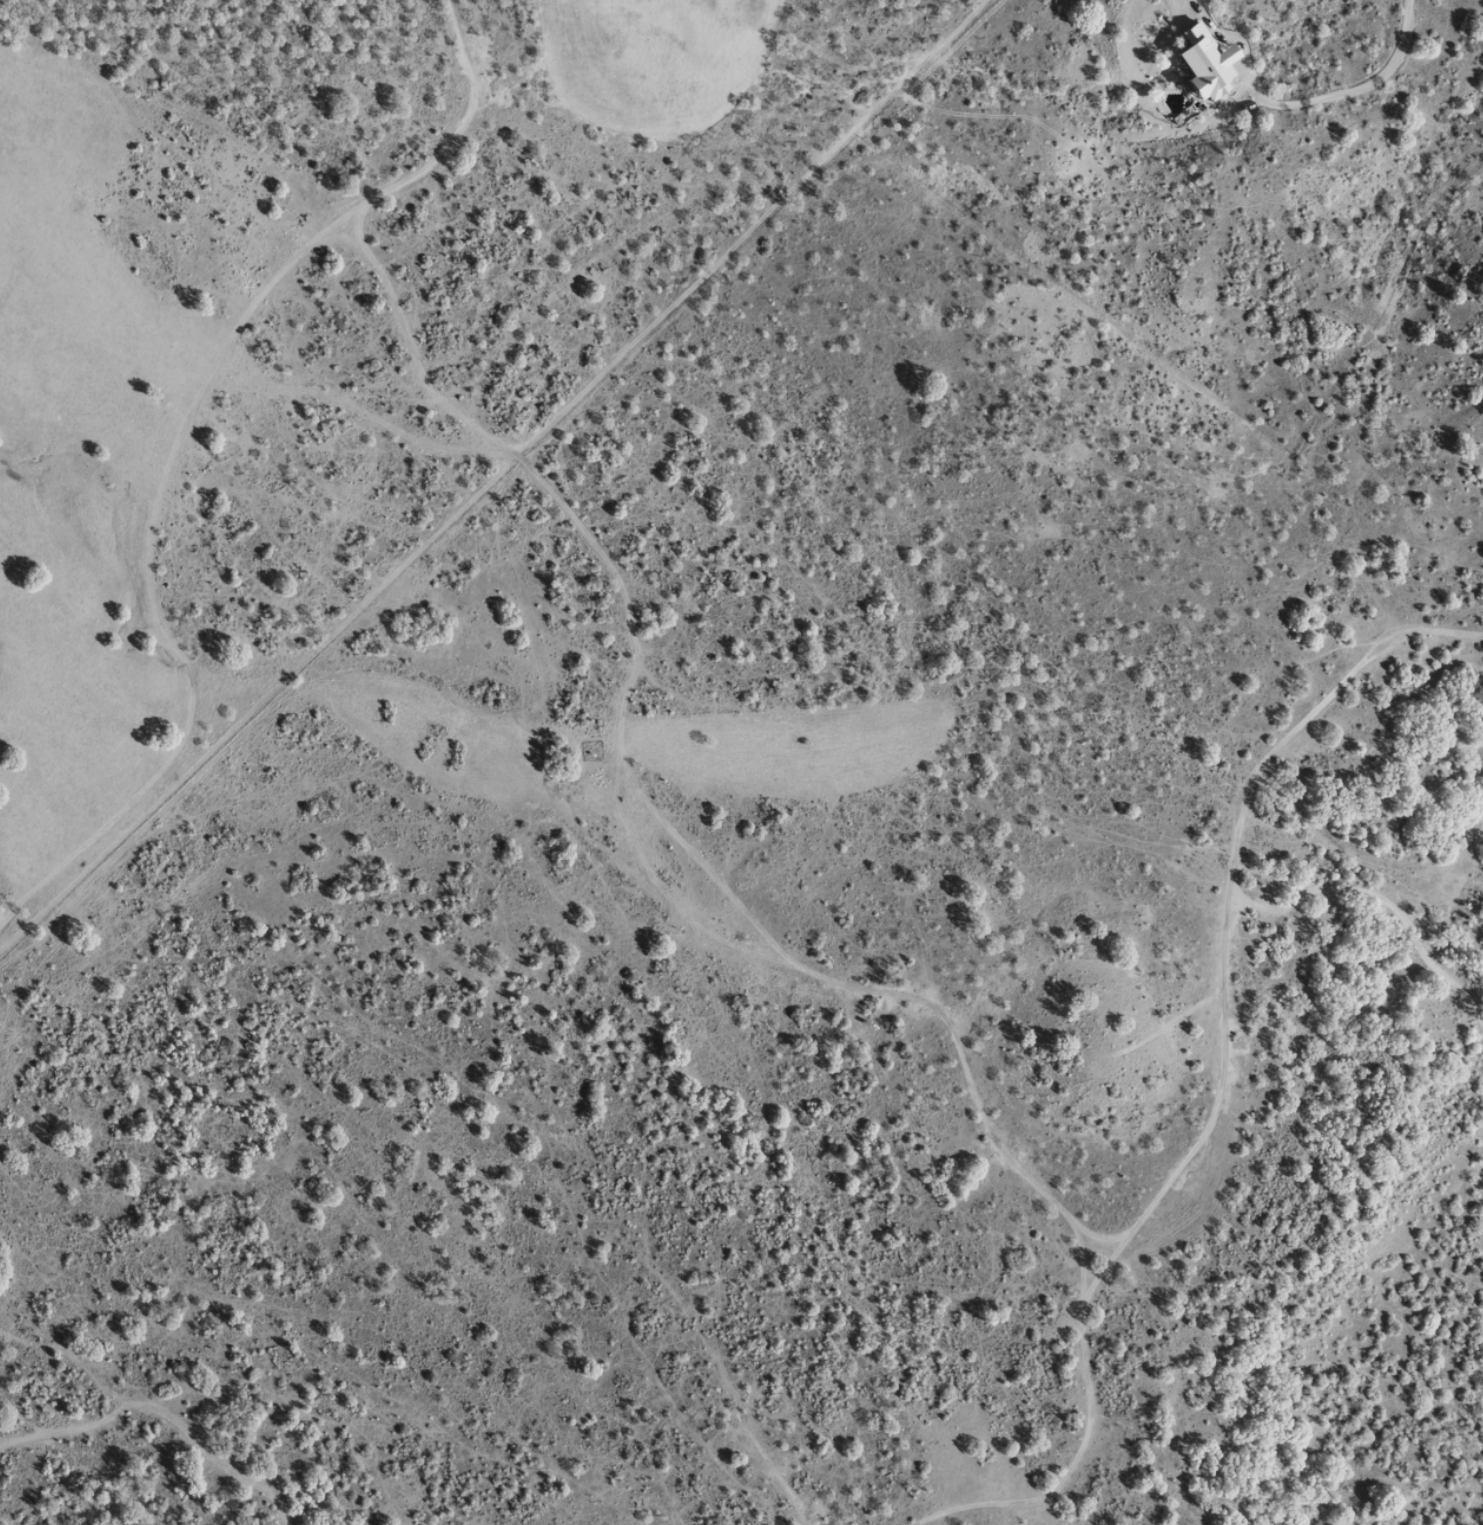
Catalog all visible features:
building: (1199, 60)
road: (1386, 344)
road: (187, 446)
road: (1442, 653)
road: (1225, 927)
road: (124, 1438)

